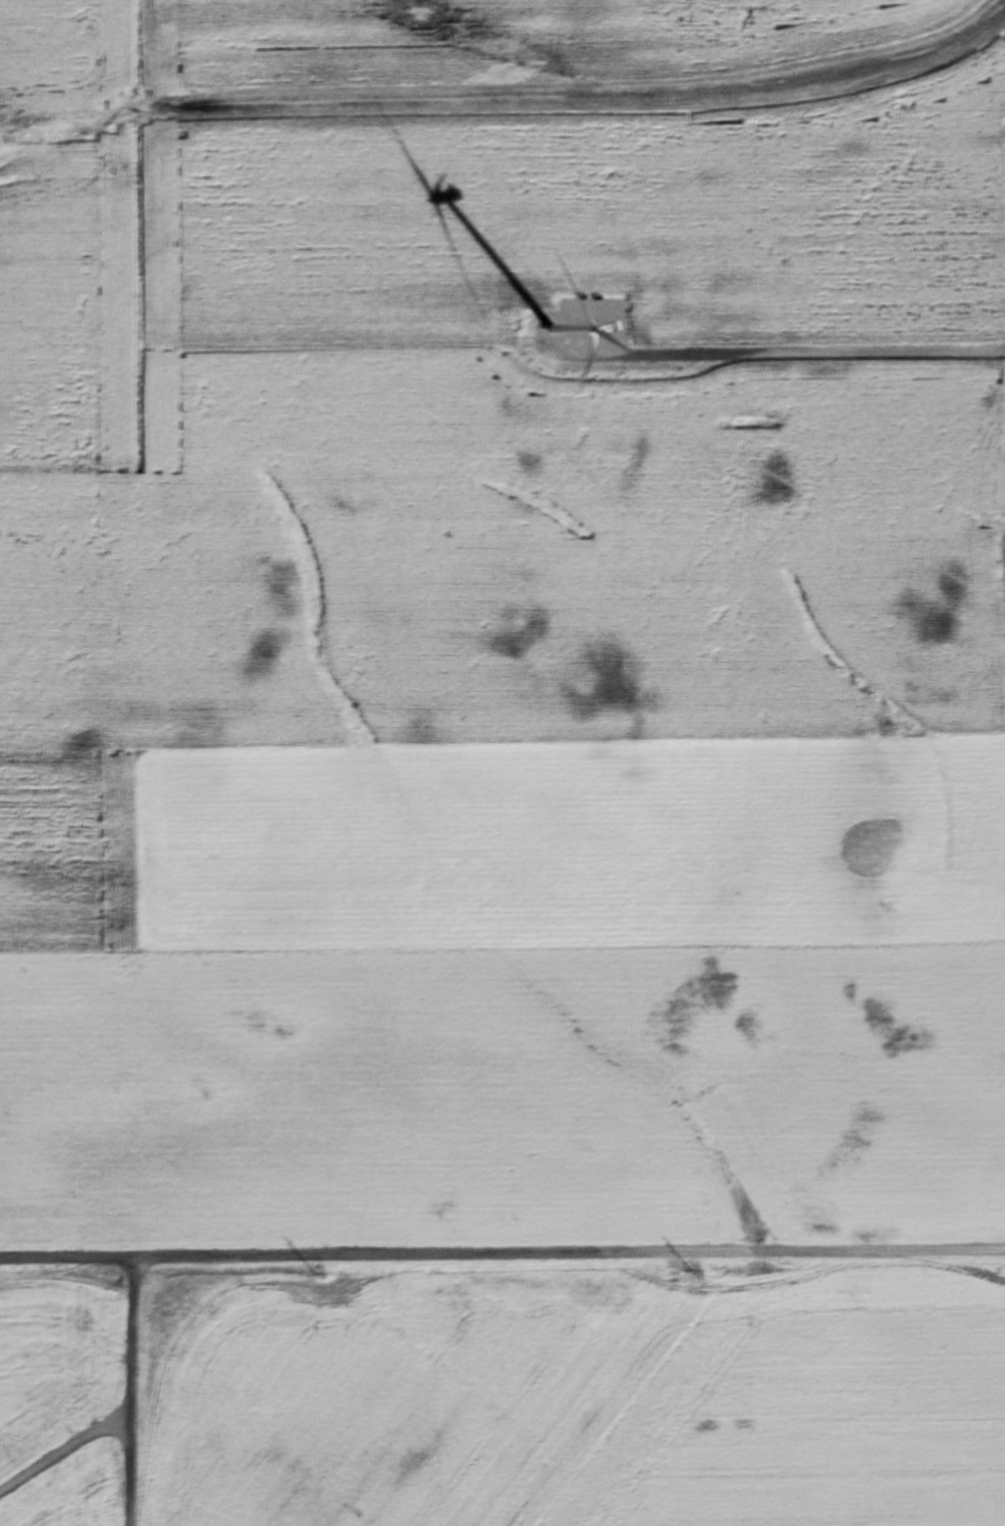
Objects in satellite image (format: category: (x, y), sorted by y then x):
building: (590, 288)
wind turbine: (547, 334)
road: (779, 359)
road: (504, 1259)
road: (126, 1394)
road: (60, 1456)

